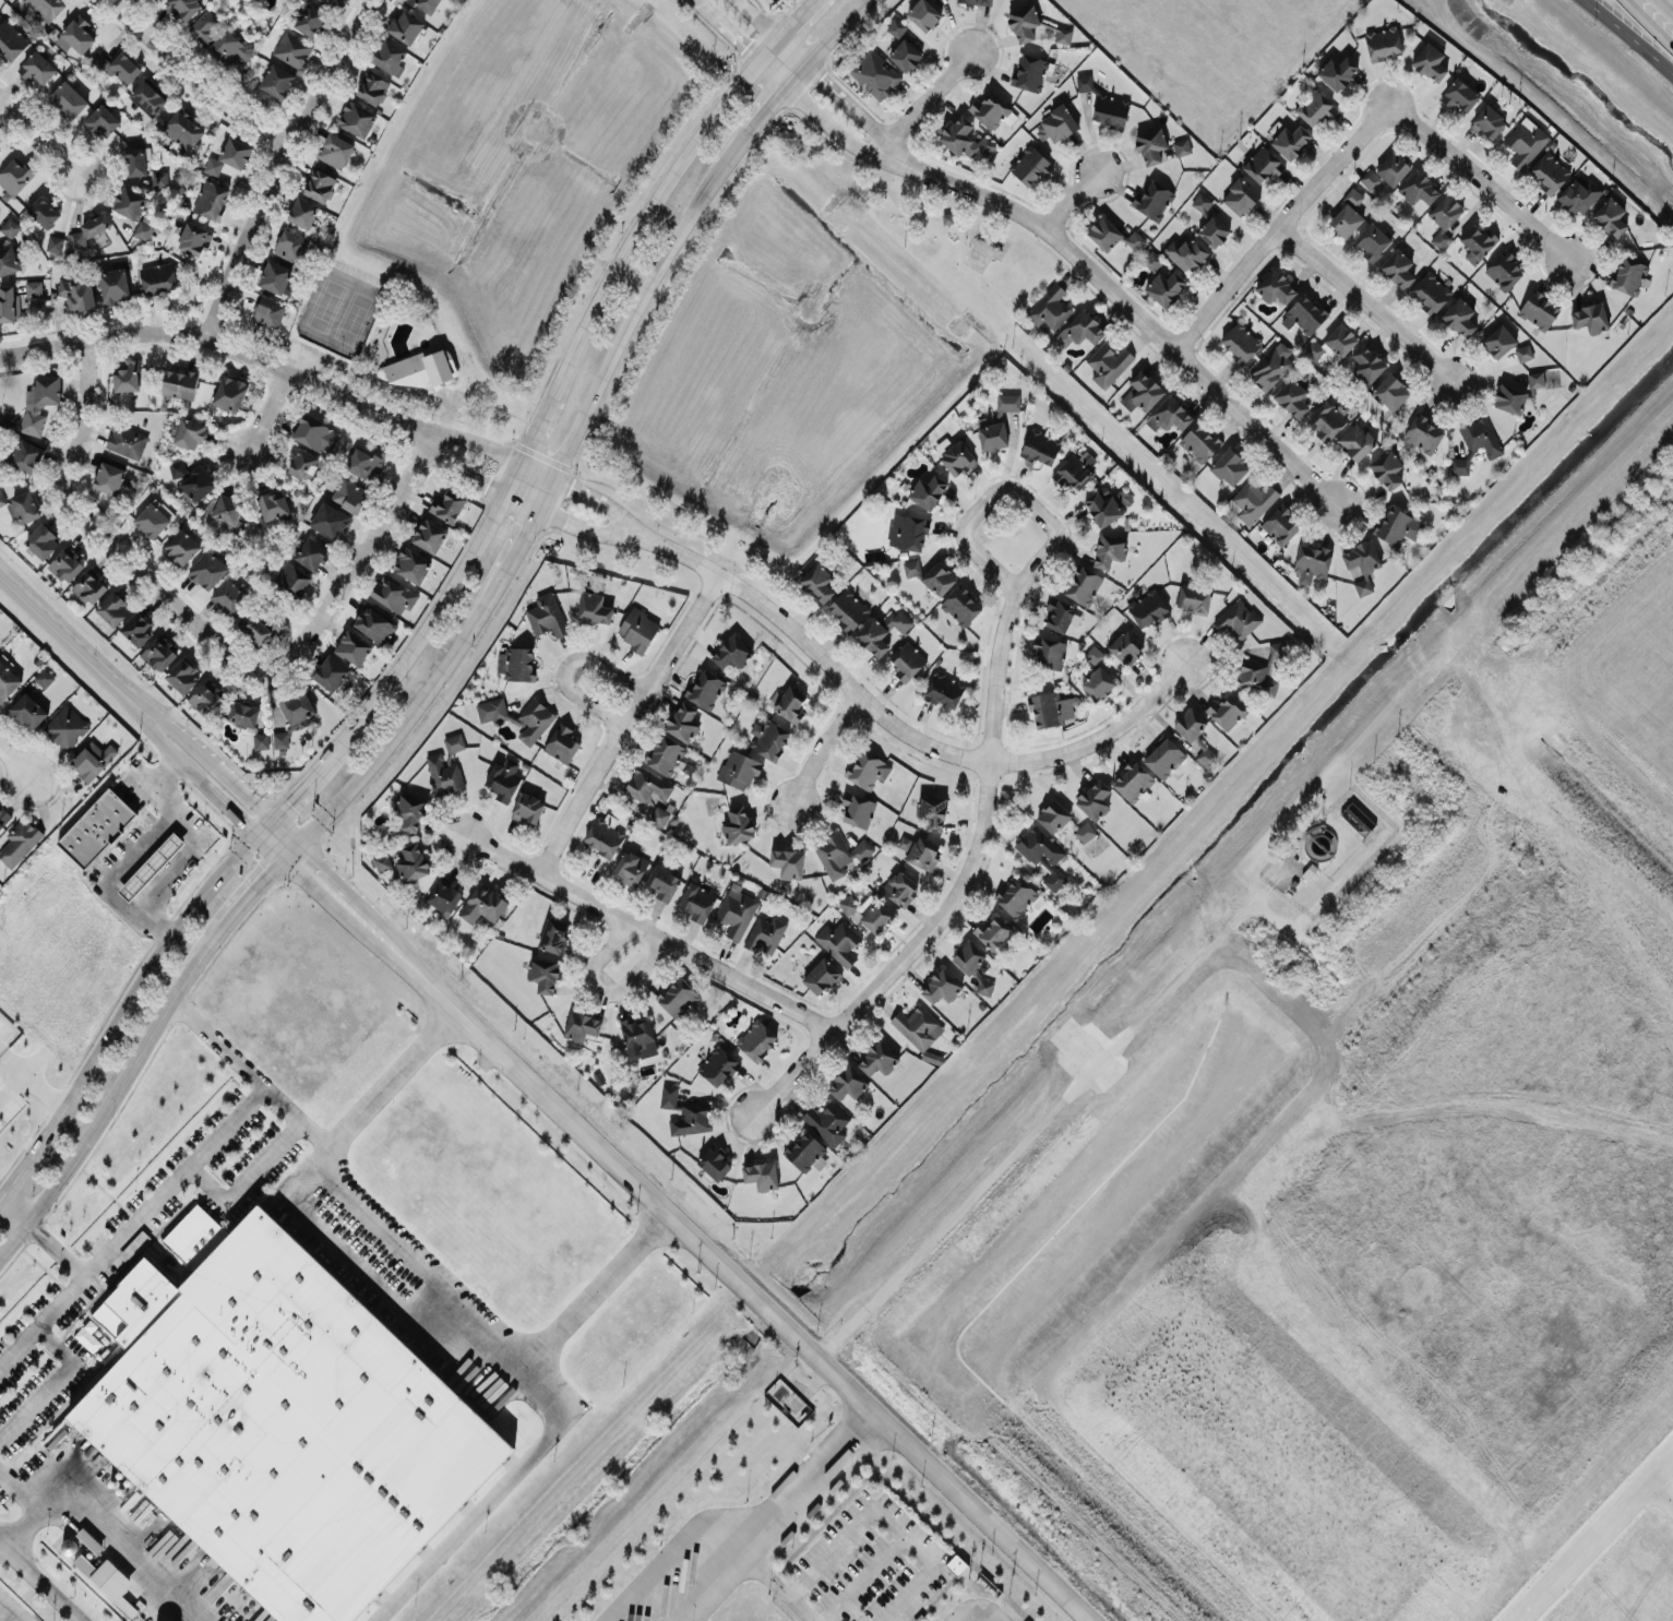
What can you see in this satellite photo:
building: (158, 0)
road: (1672, 0)
building: (978, 1)
building: (334, 2)
building: (425, 4)
building: (47, 8)
building: (183, 8)
building: (923, 14)
building: (310, 20)
road: (1651, 21)
building: (1024, 22)
building: (204, 26)
building: (405, 26)
building: (896, 27)
building: (75, 34)
road: (1632, 34)
building: (1063, 35)
building: (11, 39)
building: (1383, 43)
building: (228, 49)
building: (292, 49)
building: (905, 55)
building: (389, 56)
building: (1430, 61)
building: (116, 65)
building: (37, 68)
building: (1031, 71)
building: (1337, 71)
building: (875, 73)
road: (201, 75)
building: (277, 80)
building: (1084, 82)
building: (372, 87)
road: (833, 87)
building: (1460, 95)
building: (147, 97)
building: (68, 99)
road: (923, 103)
road: (799, 104)
building: (1315, 107)
building: (992, 110)
building: (1111, 110)
building: (357, 118)
building: (101, 120)
building: (1487, 122)
building: (1055, 124)
building: (183, 130)
road: (37, 136)
building: (965, 139)
building: (1291, 141)
building: (0, 143)
building: (1525, 143)
building: (1151, 145)
building: (1182, 146)
building: (335, 150)
building: (229, 156)
building: (138, 159)
road: (280, 159)
building: (1030, 165)
building: (1263, 165)
building: (1393, 168)
building: (1549, 171)
road: (1474, 175)
building: (14, 176)
building: (159, 178)
building: (1370, 179)
building: (319, 184)
building: (1418, 188)
building: (1579, 194)
building: (1240, 196)
building: (211, 199)
building: (1154, 200)
building: (129, 202)
road: (1072, 202)
building: (1202, 203)
building: (44, 211)
building: (302, 212)
road: (645, 214)
building: (1348, 214)
building: (1610, 216)
building: (1444, 218)
road: (683, 219)
building: (10, 227)
building: (89, 229)
building: (143, 229)
building: (1214, 231)
road: (1275, 231)
building: (1104, 233)
building: (193, 238)
building: (1134, 239)
building: (1372, 241)
building: (1477, 241)
building: (55, 242)
building: (289, 245)
building: (1186, 253)
building: (8, 260)
building: (1152, 261)
building: (1398, 267)
building: (1504, 270)
building: (1628, 275)
building: (274, 276)
building: (157, 277)
building: (115, 285)
building: (34, 287)
building: (1164, 287)
building: (1275, 287)
building: (1430, 291)
building: (77, 293)
building: (9, 303)
road: (1365, 303)
building: (1049, 308)
building: (1539, 310)
building: (267, 311)
park: (340, 314)
building: (1304, 314)
building: (1459, 317)
building: (1590, 317)
road: (1145, 321)
building: (1080, 329)
road: (223, 336)
building: (1498, 341)
building: (1240, 342)
building: (1333, 343)
building: (1523, 353)
building: (1108, 363)
building: (1366, 363)
building: (419, 368)
building: (1269, 368)
building: (127, 376)
building: (1535, 379)
building: (179, 383)
building: (1142, 392)
building: (1390, 392)
building: (229, 393)
building: (1292, 397)
building: (1509, 398)
building: (39, 402)
building: (1008, 403)
road: (267, 414)
building: (1169, 415)
building: (1326, 419)
building: (189, 432)
building: (314, 433)
building: (992, 433)
building: (1423, 433)
building: (1480, 437)
building: (126, 439)
building: (1199, 441)
building: (1357, 441)
road: (473, 442)
building: (1040, 446)
road: (438, 451)
building: (26, 455)
building: (957, 458)
building: (363, 461)
building: (304, 464)
building: (1230, 466)
building: (1459, 466)
road: (535, 467)
building: (177, 468)
building: (1387, 468)
building: (1073, 472)
road: (511, 475)
building: (108, 477)
road: (477, 477)
building: (198, 482)
road: (578, 489)
building: (928, 490)
road: (543, 492)
building: (348, 493)
building: (2, 498)
road: (519, 500)
building: (1251, 500)
building: (273, 505)
building: (447, 505)
building: (1107, 505)
building: (23, 506)
building: (224, 506)
building: (153, 517)
building: (330, 519)
road: (630, 521)
building: (1279, 524)
building: (1398, 525)
road: (594, 528)
building: (910, 532)
road: (104, 535)
building: (429, 535)
building: (41, 540)
building: (181, 547)
road: (1047, 548)
building: (1109, 550)
building: (311, 552)
building: (1361, 556)
road: (357, 562)
building: (1312, 562)
building: (411, 563)
building: (67, 565)
building: (911, 568)
building: (208, 570)
building: (292, 579)
building: (939, 579)
building: (817, 582)
building: (1083, 584)
building: (1362, 585)
building: (89, 587)
building: (394, 594)
building: (228, 595)
building: (1193, 596)
building: (960, 606)
building: (113, 608)
building: (594, 608)
building: (848, 608)
building: (1147, 608)
building: (547, 615)
building: (1059, 615)
building: (1239, 619)
building: (373, 623)
building: (261, 625)
building: (136, 629)
building: (637, 629)
building: (882, 631)
road: (418, 635)
road: (457, 645)
building: (352, 646)
building: (1126, 646)
building: (1277, 648)
building: (731, 652)
building: (1049, 652)
building: (159, 653)
road: (77, 654)
building: (1094, 654)
building: (907, 660)
building: (516, 663)
road: (565, 666)
building: (328, 672)
building: (182, 674)
building: (1255, 676)
building: (44, 677)
building: (7, 679)
building: (1098, 683)
building: (705, 689)
building: (944, 689)
building: (206, 699)
building: (790, 703)
building: (297, 706)
building: (1051, 708)
building: (28, 710)
building: (491, 710)
building: (1227, 711)
building: (243, 714)
building: (534, 720)
building: (682, 720)
road: (626, 723)
building: (1190, 724)
building: (65, 726)
road: (906, 732)
building: (280, 738)
building: (769, 738)
building: (261, 740)
building: (454, 742)
building: (562, 742)
road: (824, 747)
building: (665, 754)
building: (1206, 755)
building: (1163, 756)
building: (93, 759)
road: (16, 763)
road: (212, 766)
building: (739, 768)
building: (868, 770)
building: (444, 774)
road: (201, 777)
building: (503, 778)
building: (1133, 780)
building: (647, 785)
road: (289, 798)
building: (1095, 799)
building: (527, 808)
building: (858, 809)
road: (324, 810)
building: (410, 811)
building: (932, 811)
building: (3, 815)
building: (659, 815)
building: (1053, 815)
building: (1358, 819)
road: (259, 823)
building: (739, 824)
building: (96, 827)
building: (1084, 832)
building: (604, 834)
road: (274, 838)
building: (19, 842)
building: (905, 842)
road: (194, 844)
building: (923, 851)
building: (839, 853)
building: (1042, 855)
building: (382, 860)
building: (413, 861)
building: (788, 861)
building: (151, 865)
building: (631, 867)
road: (120, 869)
road: (1338, 881)
building: (662, 882)
road: (255, 887)
building: (899, 887)
building: (444, 894)
building: (1016, 896)
building: (697, 901)
building: (483, 904)
building: (848, 904)
road: (948, 906)
building: (736, 910)
building: (875, 916)
building: (993, 931)
building: (765, 933)
building: (553, 934)
road: (647, 935)
road: (1295, 939)
building: (839, 941)
building: (969, 956)
building: (543, 975)
building: (821, 976)
building: (942, 986)
building: (984, 986)
road: (598, 989)
building: (678, 997)
road: (126, 1006)
building: (582, 1025)
building: (918, 1026)
building: (638, 1037)
building: (756, 1039)
road: (218, 1042)
road: (1, 1048)
building: (877, 1058)
building: (717, 1065)
road: (798, 1068)
road: (33, 1078)
road: (391, 1080)
building: (847, 1083)
road: (12, 1084)
road: (115, 1090)
building: (669, 1096)
building: (691, 1118)
building: (827, 1121)
road: (1042, 1122)
building: (806, 1152)
building: (715, 1163)
road: (243, 1175)
building: (762, 1175)
road: (152, 1205)
road: (688, 1237)
road: (370, 1277)
road: (595, 1291)
road: (43, 1321)
road: (522, 1364)
road: (49, 1382)
building: (280, 1418)
road: (1660, 1469)
road: (1660, 1493)
road: (28, 1515)
road: (888, 1516)
road: (777, 1519)
road: (101, 1533)
building: (89, 1539)
road: (672, 1550)
road: (1582, 1552)
building: (956, 1564)
road: (766, 1572)
building: (105, 1575)
road: (39, 1583)
road: (802, 1608)
road: (3, 1617)

